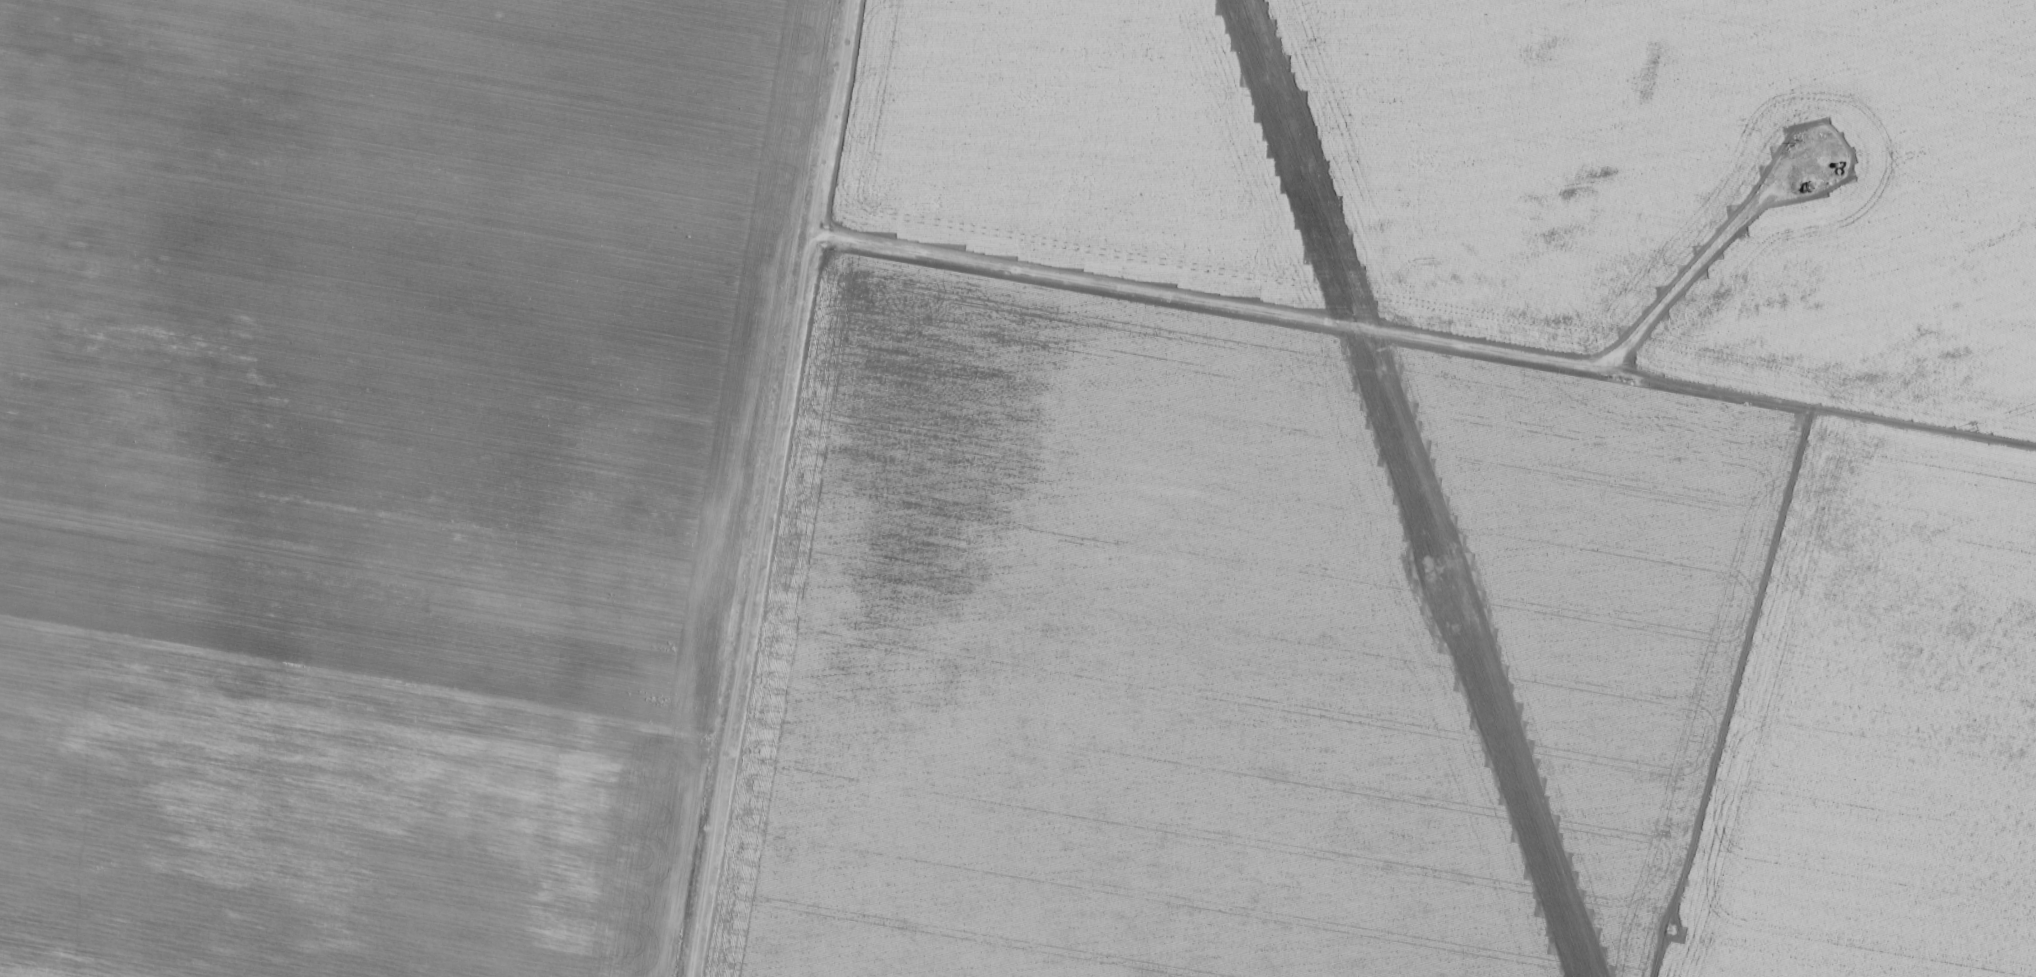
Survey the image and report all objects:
road: (842, 488)

